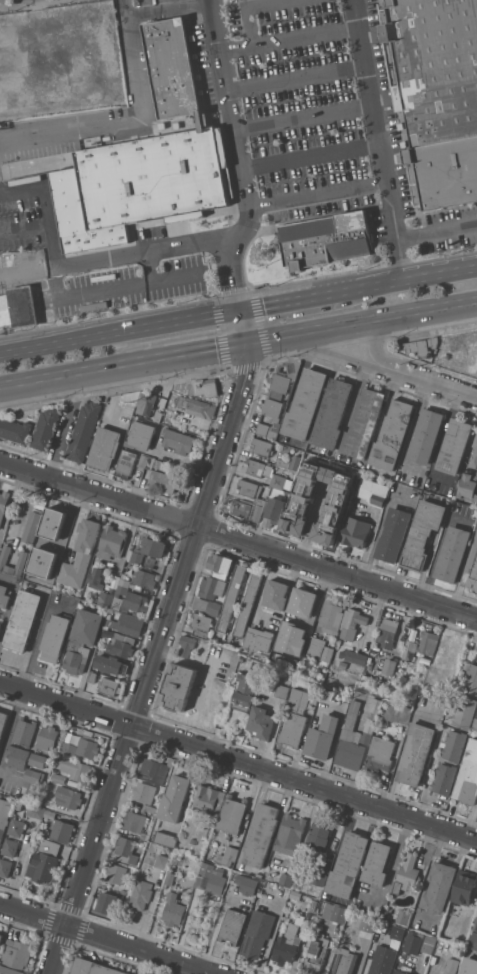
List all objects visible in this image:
road: (210, 2)
road: (247, 8)
road: (169, 11)
road: (215, 27)
road: (287, 38)
road: (295, 79)
road: (368, 91)
building: (436, 93)
road: (302, 116)
road: (126, 121)
building: (160, 150)
road: (309, 156)
road: (242, 182)
road: (316, 195)
road: (43, 207)
road: (23, 230)
road: (395, 231)
road: (437, 231)
building: (326, 239)
road: (118, 256)
road: (406, 280)
road: (108, 289)
road: (289, 302)
building: (18, 307)
traffic signals: (241, 311)
road: (362, 321)
road: (120, 333)
traffic signals: (247, 342)
road: (371, 344)
building: (421, 346)
road: (196, 351)
road: (330, 353)
road: (73, 374)
building: (283, 379)
road: (432, 385)
building: (205, 388)
building: (146, 403)
building: (305, 404)
building: (197, 407)
building: (332, 414)
building: (158, 416)
building: (275, 419)
building: (364, 424)
road: (414, 424)
building: (45, 428)
building: (14, 430)
building: (83, 431)
road: (442, 432)
building: (141, 435)
building: (392, 435)
building: (426, 436)
building: (178, 441)
building: (454, 446)
building: (261, 447)
building: (105, 448)
building: (474, 454)
building: (295, 461)
building: (282, 462)
building: (125, 463)
building: (142, 463)
building: (150, 463)
building: (317, 463)
building: (159, 464)
building: (256, 467)
building: (145, 476)
building: (320, 479)
building: (278, 480)
building: (163, 481)
building: (466, 486)
building: (248, 487)
building: (373, 492)
building: (333, 499)
road: (10, 500)
building: (474, 500)
building: (259, 501)
building: (3, 503)
building: (247, 509)
building: (274, 511)
building: (302, 516)
building: (32, 526)
building: (324, 529)
building: (355, 532)
building: (55, 533)
building: (393, 534)
building: (422, 534)
road: (238, 538)
building: (476, 539)
building: (112, 542)
road: (437, 548)
building: (149, 550)
building: (452, 554)
building: (80, 555)
building: (22, 560)
building: (220, 565)
building: (472, 572)
building: (95, 578)
building: (143, 578)
building: (123, 586)
building: (212, 587)
building: (276, 594)
building: (4, 596)
building: (105, 598)
building: (231, 599)
building: (135, 602)
building: (248, 602)
building: (208, 606)
building: (298, 610)
road: (8, 611)
building: (329, 619)
building: (22, 621)
building: (201, 621)
building: (351, 623)
building: (126, 624)
building: (0, 625)
building: (387, 632)
building: (200, 633)
building: (55, 638)
building: (82, 639)
building: (258, 639)
road: (32, 640)
building: (301, 641)
building: (337, 642)
building: (427, 642)
building: (119, 643)
road: (161, 643)
building: (186, 645)
building: (314, 647)
building: (409, 650)
building: (327, 654)
building: (353, 656)
building: (112, 665)
building: (368, 665)
building: (388, 667)
building: (472, 680)
building: (105, 683)
building: (178, 687)
building: (284, 690)
building: (245, 692)
building: (227, 704)
building: (399, 712)
building: (466, 713)
building: (296, 719)
building: (373, 720)
building: (3, 722)
building: (263, 722)
road: (10, 724)
building: (476, 725)
building: (24, 731)
building: (48, 737)
building: (324, 737)
building: (352, 741)
building: (455, 745)
building: (82, 747)
building: (417, 753)
building: (381, 754)
building: (18, 756)
building: (39, 760)
road: (238, 761)
building: (77, 769)
building: (154, 770)
building: (34, 776)
road: (9, 777)
building: (468, 777)
building: (59, 778)
building: (445, 778)
building: (143, 792)
building: (68, 797)
building: (175, 798)
building: (209, 798)
building: (148, 808)
building: (35, 811)
building: (232, 814)
building: (4, 816)
building: (135, 821)
building: (46, 822)
building: (16, 827)
building: (62, 830)
building: (45, 832)
building: (206, 832)
building: (261, 834)
building: (290, 834)
building: (143, 835)
building: (320, 836)
building: (166, 839)
building: (193, 841)
building: (49, 846)
building: (10, 847)
building: (126, 849)
building: (226, 854)
building: (162, 861)
building: (377, 863)
building: (349, 865)
building: (5, 867)
building: (42, 867)
building: (207, 869)
building: (117, 873)
building: (320, 873)
building: (259, 875)
building: (407, 875)
building: (170, 878)
building: (286, 879)
building: (213, 881)
building: (247, 884)
building: (439, 887)
building: (464, 887)
building: (142, 894)
building: (107, 902)
building: (174, 909)
building: (332, 911)
building: (385, 915)
building: (309, 917)
building: (404, 917)
building: (365, 924)
building: (233, 925)
road: (273, 932)
building: (397, 932)
building: (257, 933)
building: (1, 938)
road: (104, 939)
building: (473, 940)
building: (412, 942)
building: (429, 944)
building: (287, 945)
building: (316, 953)
building: (15, 957)
building: (382, 960)
building: (345, 961)
building: (469, 965)
building: (451, 966)
building: (93, 968)
building: (401, 972)

